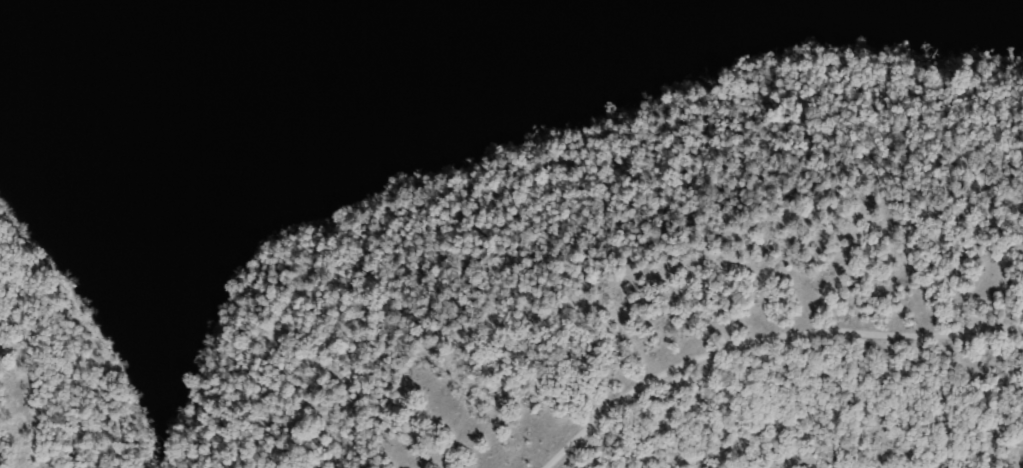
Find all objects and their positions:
park: (511, 234)
road: (765, 338)

